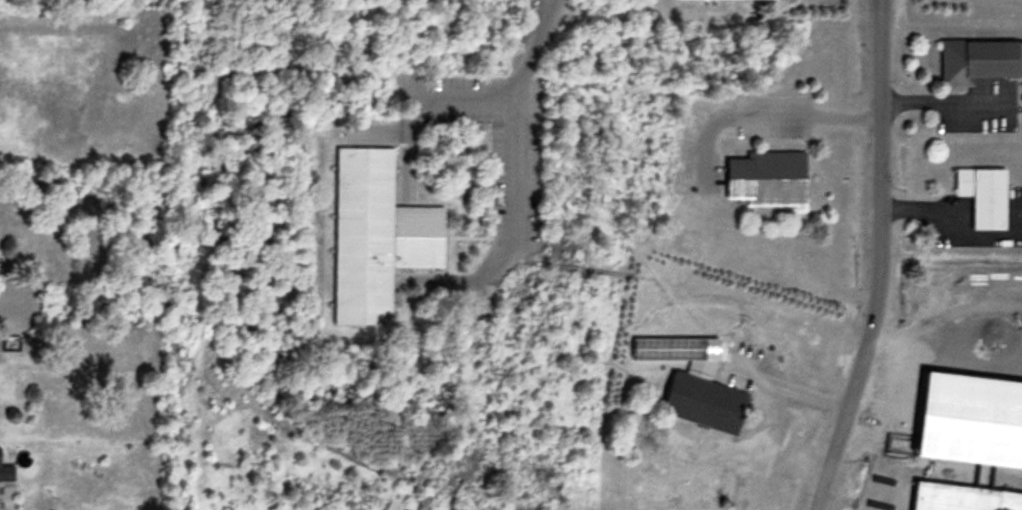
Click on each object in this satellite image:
road: (540, 48)
building: (979, 57)
road: (764, 111)
building: (770, 175)
building: (986, 192)
building: (378, 233)
road: (881, 259)
road: (768, 372)
building: (707, 399)
building: (6, 467)
building: (965, 496)

